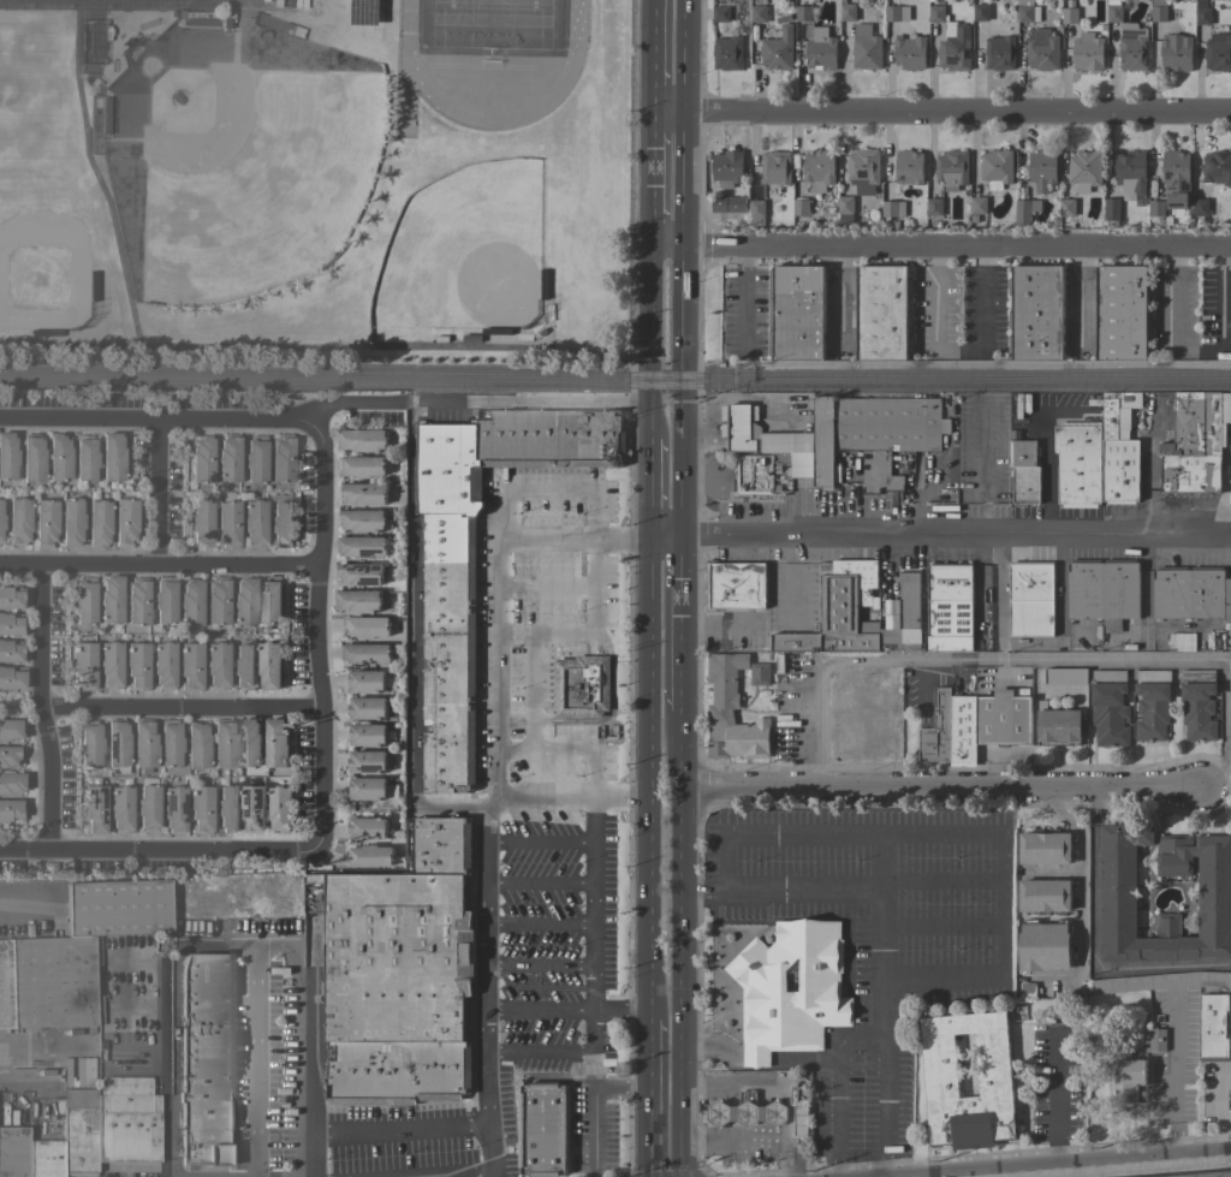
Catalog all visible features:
building: (1027, 11)
building: (1158, 11)
building: (848, 12)
building: (980, 12)
building: (1202, 12)
building: (757, 13)
building: (802, 13)
building: (896, 13)
building: (1113, 13)
building: (720, 14)
building: (936, 14)
building: (1069, 16)
building: (200, 20)
building: (1132, 47)
building: (866, 48)
building: (955, 48)
building: (778, 49)
building: (1041, 49)
building: (820, 50)
building: (909, 52)
building: (1087, 52)
building: (1176, 52)
building: (727, 53)
building: (1000, 53)
building: (1218, 53)
road: (649, 57)
road: (940, 113)
building: (105, 114)
road: (649, 124)
building: (775, 167)
building: (726, 168)
building: (908, 168)
building: (997, 168)
building: (1217, 168)
building: (817, 170)
building: (951, 170)
building: (1041, 170)
building: (1084, 170)
building: (863, 171)
building: (1130, 176)
building: (1176, 179)
road: (648, 192)
building: (729, 206)
building: (977, 206)
building: (799, 207)
building: (933, 207)
building: (1066, 207)
building: (1200, 207)
building: (1155, 208)
building: (845, 209)
building: (892, 209)
building: (1023, 210)
building: (1111, 210)
building: (755, 212)
road: (939, 250)
road: (683, 268)
road: (1221, 296)
road: (742, 298)
road: (1077, 298)
building: (796, 313)
building: (882, 313)
building: (1035, 313)
building: (1122, 313)
road: (1172, 323)
road: (647, 345)
road: (957, 350)
railway: (614, 374)
railway: (614, 384)
building: (1094, 402)
road: (356, 403)
road: (528, 405)
building: (844, 435)
building: (363, 440)
building: (1195, 442)
building: (1118, 448)
building: (7, 456)
building: (59, 456)
building: (112, 456)
building: (31, 457)
building: (84, 457)
building: (281, 457)
building: (201, 458)
building: (228, 458)
building: (255, 458)
building: (780, 462)
building: (981, 462)
building: (1077, 463)
building: (361, 466)
building: (1024, 472)
building: (754, 475)
road: (646, 489)
building: (363, 493)
road: (157, 495)
building: (18, 519)
building: (1, 521)
building: (71, 521)
building: (125, 521)
building: (201, 521)
building: (363, 521)
building: (44, 522)
building: (97, 522)
building: (254, 522)
building: (227, 523)
building: (281, 523)
road: (498, 537)
road: (936, 540)
road: (571, 542)
building: (361, 546)
road: (157, 569)
building: (358, 573)
building: (735, 585)
road: (546, 590)
building: (1102, 592)
building: (1190, 593)
building: (11, 596)
building: (111, 599)
building: (163, 599)
building: (216, 599)
building: (137, 600)
building: (270, 600)
building: (357, 600)
building: (1030, 600)
building: (84, 601)
building: (190, 601)
building: (244, 601)
building: (448, 607)
building: (948, 607)
building: (838, 611)
building: (905, 616)
building: (11, 624)
road: (680, 624)
building: (365, 626)
road: (545, 635)
road: (316, 636)
road: (603, 642)
building: (1182, 642)
road: (412, 643)
building: (11, 650)
building: (367, 654)
road: (1030, 659)
building: (109, 664)
building: (163, 664)
building: (216, 664)
building: (83, 665)
building: (136, 665)
building: (189, 665)
building: (269, 665)
building: (243, 666)
building: (760, 674)
building: (11, 677)
building: (1065, 677)
building: (365, 682)
building: (581, 686)
road: (529, 692)
building: (1197, 703)
building: (1152, 705)
building: (1108, 707)
road: (20, 708)
building: (365, 708)
road: (40, 709)
road: (178, 709)
building: (731, 712)
building: (1001, 718)
building: (1057, 724)
building: (11, 727)
building: (936, 730)
building: (962, 730)
building: (367, 735)
building: (117, 742)
building: (89, 743)
building: (143, 743)
building: (224, 743)
building: (250, 743)
building: (276, 743)
building: (196, 744)
building: (171, 747)
road: (545, 751)
building: (10, 755)
building: (367, 762)
road: (643, 778)
building: (11, 781)
road: (941, 783)
building: (367, 789)
road: (549, 798)
road: (623, 799)
building: (147, 804)
building: (254, 807)
building: (93, 808)
building: (120, 808)
building: (173, 808)
building: (227, 808)
building: (11, 809)
building: (200, 809)
building: (280, 809)
building: (365, 827)
road: (860, 832)
road: (539, 843)
building: (441, 845)
building: (1045, 849)
building: (368, 856)
road: (720, 862)
road: (940, 881)
road: (537, 884)
road: (801, 893)
road: (701, 894)
building: (1118, 894)
building: (1043, 897)
road: (23, 899)
road: (1000, 903)
building: (115, 906)
road: (1078, 906)
road: (594, 919)
road: (537, 926)
road: (940, 926)
road: (239, 939)
road: (679, 943)
building: (1043, 945)
road: (132, 958)
road: (537, 967)
road: (1152, 969)
road: (941, 980)
building: (47, 981)
building: (1160, 981)
road: (481, 983)
building: (397, 987)
building: (790, 989)
road: (881, 991)
building: (1028, 991)
road: (537, 1010)
road: (619, 1010)
building: (1214, 1028)
road: (314, 1034)
road: (858, 1036)
building: (1154, 1040)
road: (537, 1053)
road: (133, 1057)
building: (203, 1057)
road: (1173, 1057)
road: (251, 1058)
road: (805, 1063)
building: (940, 1065)
road: (160, 1068)
road: (26, 1077)
building: (1126, 1080)
road: (715, 1083)
road: (767, 1083)
road: (1053, 1084)
road: (619, 1087)
road: (837, 1096)
road: (646, 1098)
building: (747, 1111)
road: (730, 1113)
road: (783, 1113)
building: (797, 1113)
building: (127, 1120)
building: (542, 1129)
road: (781, 1129)
road: (400, 1130)
road: (594, 1130)
building: (78, 1131)
road: (768, 1135)
road: (704, 1137)
road: (1176, 1141)
building: (13, 1151)
road: (860, 1153)
road: (1057, 1154)
building: (44, 1158)
road: (884, 1164)
road: (1093, 1165)
road: (837, 1166)
road: (490, 1167)
road: (1130, 1170)
road: (457, 1172)
road: (594, 1175)
road: (970, 1176)

